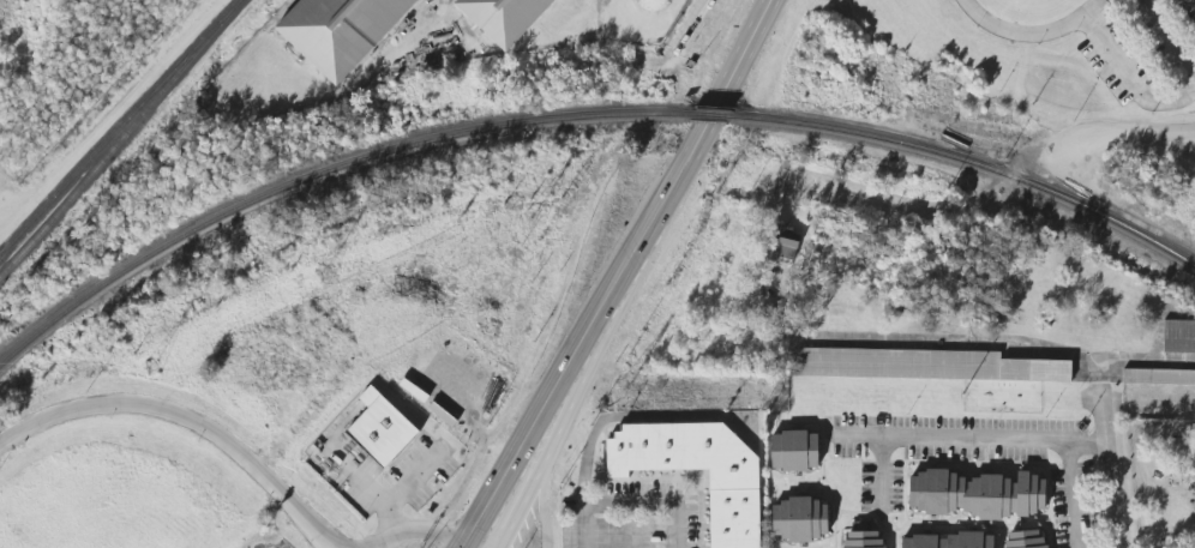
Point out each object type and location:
road: (1193, 1)
building: (657, 6)
building: (500, 18)
building: (336, 31)
road: (1033, 34)
road: (1166, 41)
parking lot: (1142, 48)
road: (733, 66)
road: (1127, 80)
railway: (709, 118)
railway: (119, 126)
railway: (119, 137)
road: (1125, 143)
railway: (975, 168)
railway: (316, 176)
road: (931, 209)
power tower: (529, 222)
building: (782, 243)
power tower: (322, 276)
road: (621, 289)
building: (1178, 336)
building: (921, 365)
power tower: (146, 372)
building: (1159, 377)
power tower: (630, 392)
power tower: (959, 395)
road: (611, 417)
road: (185, 418)
building: (376, 429)
road: (972, 439)
building: (793, 451)
road: (1109, 459)
parking lot: (379, 471)
road: (881, 477)
building: (977, 494)
road: (1071, 495)
road: (515, 496)
road: (542, 496)
road: (629, 504)
building: (734, 512)
building: (799, 519)
road: (389, 523)
road: (631, 525)
road: (675, 525)
road: (413, 529)
building: (863, 538)
building: (1025, 538)
building: (945, 540)
parking lot: (271, 542)

